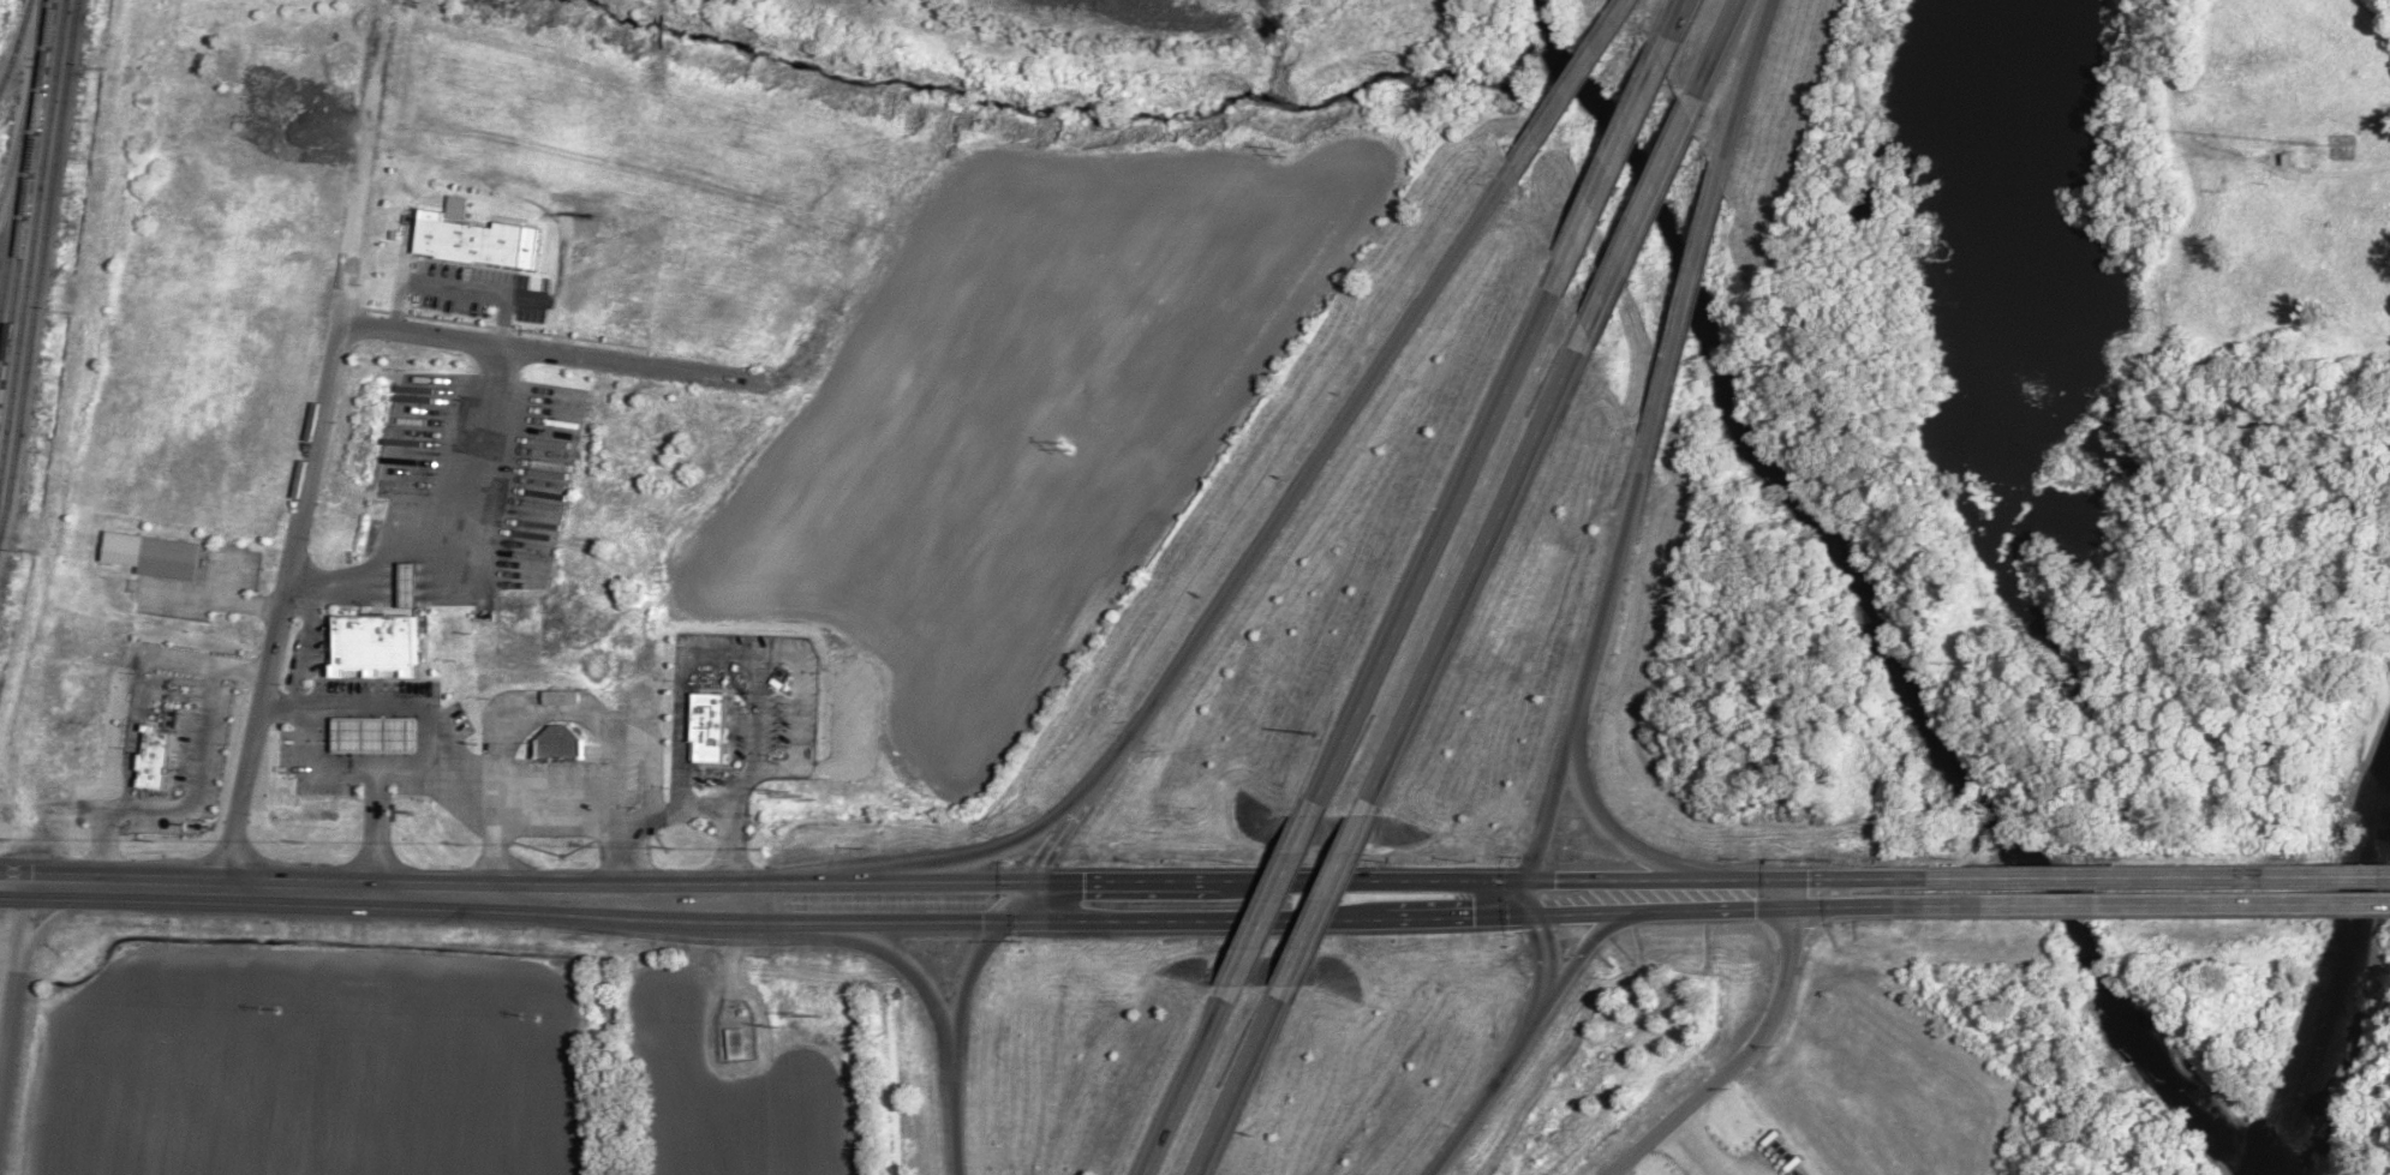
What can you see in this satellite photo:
railway: (35, 18)
road: (1675, 28)
railway: (14, 40)
road: (1720, 49)
road: (1570, 84)
road: (1747, 88)
railway: (13, 142)
railway: (19, 145)
power tower: (1287, 156)
road: (1612, 166)
road: (1644, 214)
railway: (38, 262)
road: (466, 274)
road: (1683, 314)
road: (319, 446)
road: (1314, 464)
road: (448, 522)
road: (1440, 540)
road: (1478, 574)
building: (412, 584)
river: (1852, 595)
building: (377, 643)
road: (1588, 669)
road: (245, 672)
road: (213, 705)
road: (438, 729)
building: (376, 733)
building: (558, 741)
building: (163, 760)
road: (425, 780)
road: (376, 781)
power tower: (808, 798)
road: (590, 801)
building: (560, 805)
road: (711, 811)
road: (1072, 821)
road: (1605, 828)
road: (1004, 846)
traffic signals: (1041, 863)
road: (2140, 877)
traffic signals: (1554, 880)
road: (1259, 881)
traffic signals: (1081, 883)
road: (312, 894)
road: (1520, 898)
road: (1327, 901)
road: (1017, 903)
road: (1273, 904)
building: (1914, 905)
road: (2139, 907)
traffic signals: (1462, 915)
road: (1256, 919)
traffic signals: (980, 922)
traffic signals: (1538, 930)
road: (1581, 947)
road: (1546, 965)
road: (914, 976)
road: (12, 979)
river: (2335, 987)
power tower: (813, 1017)
road: (952, 1041)
building: (736, 1044)
road: (1746, 1051)
road: (1243, 1080)
road: (1188, 1089)
road: (1478, 1099)
road: (1697, 1147)
road: (1788, 1170)

